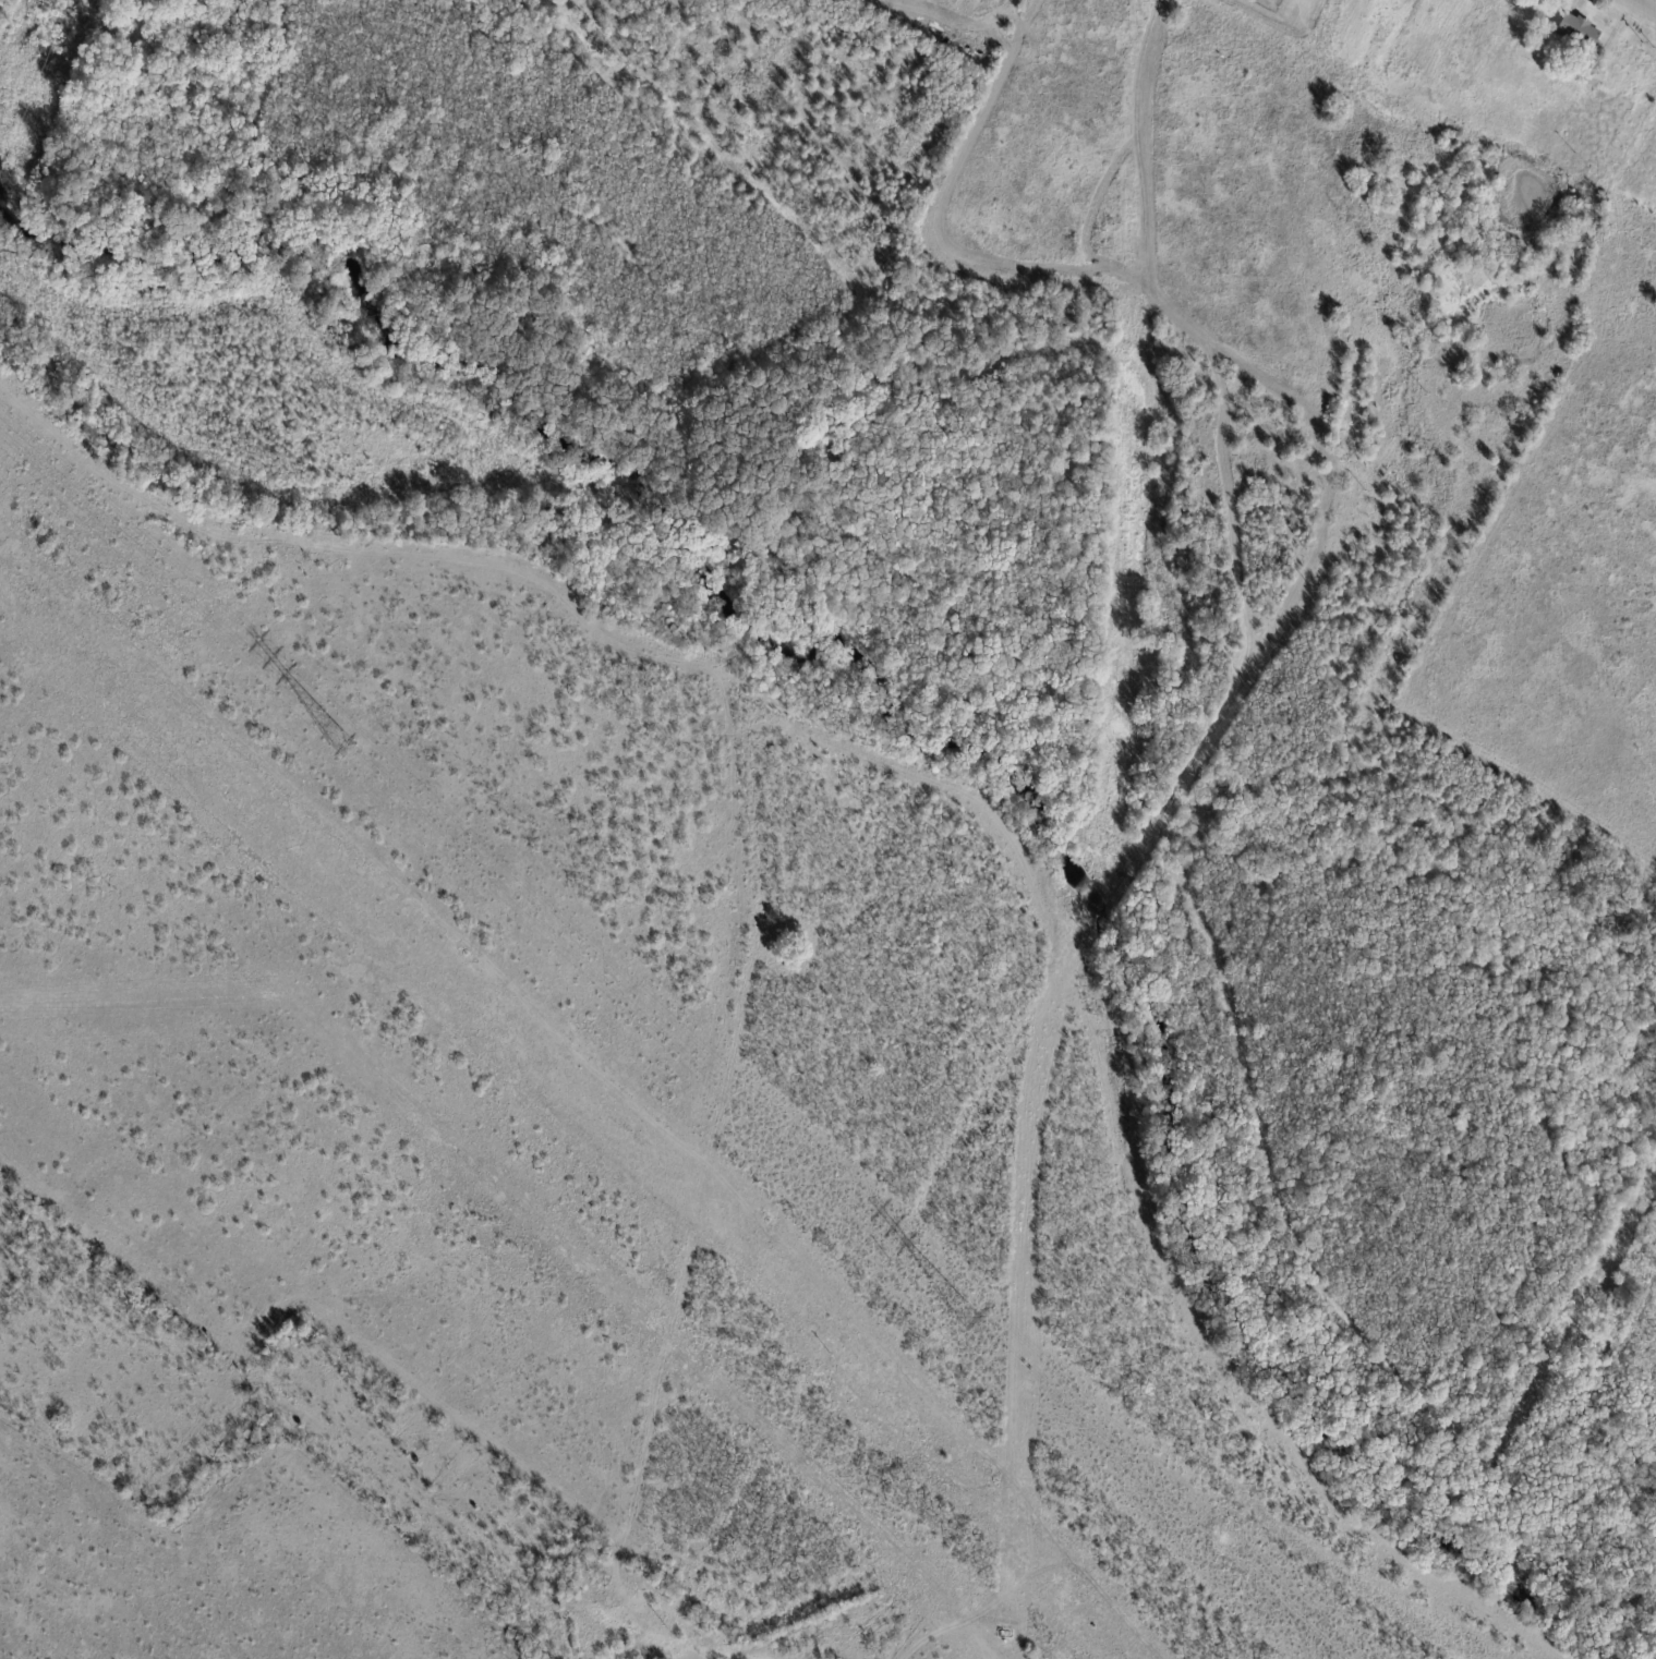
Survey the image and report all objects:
building: (126, 0)
road: (1643, 7)
power tower: (58, 12)
building: (82, 15)
building: (99, 19)
building: (1579, 33)
building: (117, 37)
power tower: (340, 741)
building: (1200, 774)
power tower: (970, 1319)

